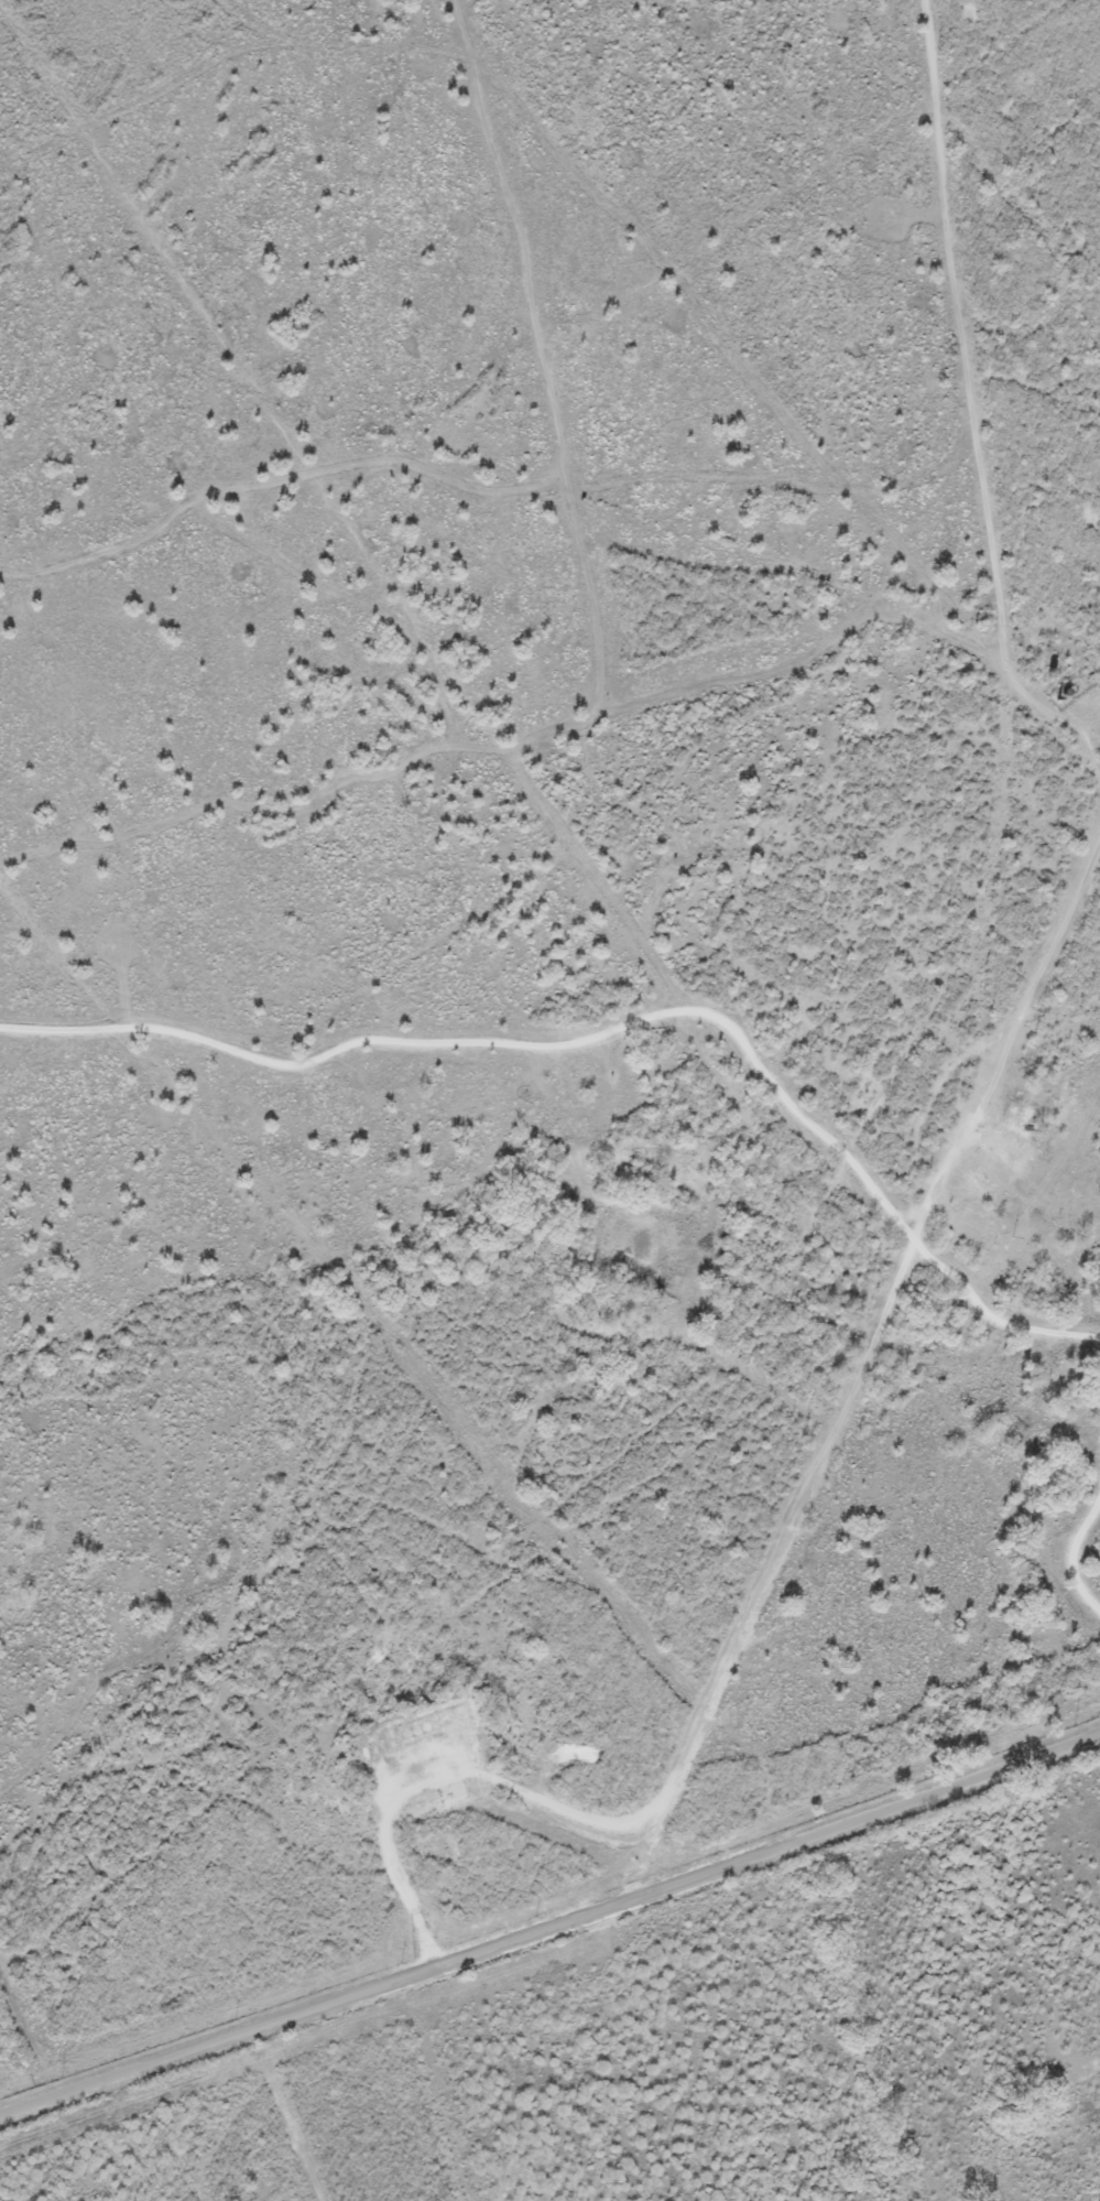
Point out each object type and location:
road: (549, 1927)

